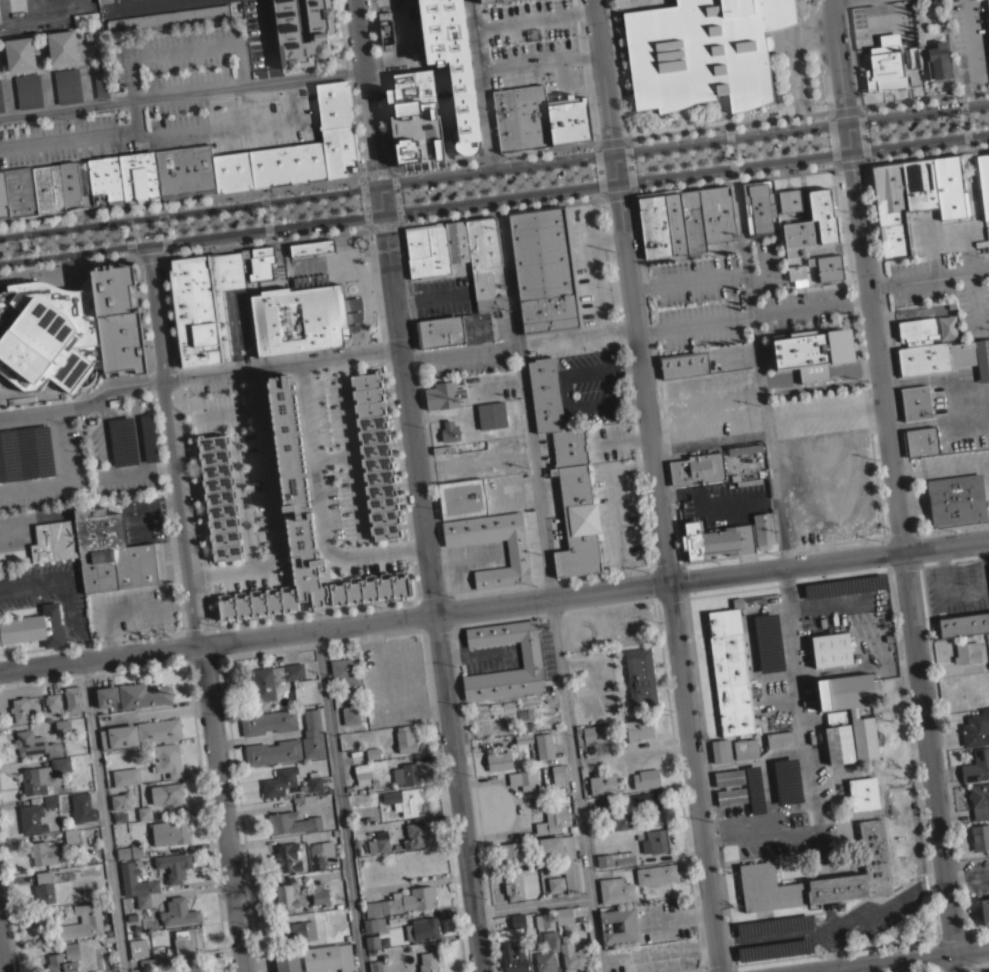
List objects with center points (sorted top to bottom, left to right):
building: (466, 0)
building: (505, 0)
building: (103, 1)
building: (486, 1)
parking lot: (641, 1)
building: (988, 6)
road: (44, 12)
parking lot: (881, 16)
building: (433, 17)
building: (168, 19)
building: (385, 28)
building: (288, 36)
road: (263, 39)
road: (969, 39)
parking lot: (970, 40)
building: (62, 47)
road: (401, 48)
building: (703, 52)
building: (19, 54)
building: (885, 61)
building: (937, 62)
building: (100, 81)
road: (481, 83)
building: (67, 85)
parking lot: (54, 88)
building: (28, 91)
road: (976, 91)
road: (181, 92)
road: (924, 97)
building: (1, 100)
road: (844, 109)
building: (414, 120)
building: (538, 120)
road: (963, 120)
road: (727, 123)
parking lot: (929, 124)
building: (337, 125)
parking lot: (170, 128)
road: (164, 130)
road: (862, 131)
road: (831, 137)
road: (611, 139)
road: (730, 147)
parking lot: (731, 150)
road: (928, 150)
road: (494, 159)
road: (851, 160)
road: (629, 162)
building: (269, 165)
road: (494, 167)
road: (598, 167)
building: (185, 171)
road: (376, 172)
road: (734, 175)
building: (123, 178)
building: (983, 179)
parking lot: (497, 181)
building: (920, 183)
building: (72, 187)
building: (950, 187)
building: (48, 190)
road: (618, 190)
building: (20, 193)
road: (395, 195)
road: (494, 195)
road: (363, 198)
building: (3, 199)
road: (180, 200)
building: (789, 200)
building: (758, 204)
building: (889, 207)
road: (501, 208)
building: (716, 213)
road: (265, 215)
road: (501, 217)
building: (692, 220)
road: (382, 221)
building: (674, 221)
building: (653, 224)
building: (812, 224)
road: (162, 225)
road: (127, 229)
road: (264, 240)
road: (27, 243)
building: (311, 248)
building: (435, 248)
road: (147, 251)
building: (257, 252)
road: (65, 260)
building: (484, 261)
building: (828, 267)
building: (544, 269)
road: (766, 272)
building: (796, 272)
road: (928, 275)
road: (688, 278)
building: (800, 282)
building: (1, 284)
parking lot: (946, 290)
road: (429, 297)
parking lot: (730, 297)
building: (203, 305)
road: (394, 305)
road: (751, 313)
building: (299, 317)
building: (71, 329)
building: (917, 329)
building: (439, 331)
road: (575, 336)
road: (457, 352)
building: (812, 352)
building: (943, 356)
building: (683, 364)
road: (757, 370)
road: (196, 371)
building: (443, 394)
building: (545, 394)
building: (916, 402)
road: (226, 409)
road: (448, 412)
building: (491, 415)
building: (449, 431)
building: (143, 436)
building: (118, 440)
road: (169, 441)
building: (920, 441)
parking lot: (948, 442)
building: (569, 446)
building: (441, 449)
building: (24, 452)
building: (375, 455)
parking lot: (75, 459)
road: (156, 465)
building: (696, 468)
road: (128, 474)
road: (59, 475)
road: (893, 485)
road: (655, 486)
building: (746, 488)
building: (218, 497)
building: (461, 497)
building: (956, 499)
road: (322, 500)
road: (714, 502)
road: (242, 504)
road: (269, 505)
road: (617, 509)
building: (576, 522)
building: (302, 525)
building: (763, 529)
building: (715, 540)
building: (54, 541)
building: (111, 553)
building: (517, 556)
building: (988, 567)
road: (30, 585)
road: (549, 599)
building: (761, 599)
road: (494, 604)
road: (71, 620)
building: (963, 623)
building: (34, 627)
building: (987, 636)
building: (763, 641)
building: (831, 649)
building: (968, 652)
building: (530, 657)
building: (889, 666)
building: (730, 671)
building: (345, 676)
building: (640, 679)
road: (797, 679)
building: (261, 683)
building: (142, 694)
building: (106, 695)
building: (73, 698)
building: (52, 702)
building: (20, 708)
building: (848, 714)
building: (350, 715)
building: (268, 722)
building: (61, 725)
building: (776, 726)
building: (639, 728)
building: (976, 728)
building: (159, 730)
building: (312, 734)
building: (596, 734)
building: (118, 736)
building: (523, 738)
building: (405, 739)
building: (34, 744)
building: (544, 745)
building: (747, 748)
building: (721, 750)
building: (272, 752)
building: (372, 753)
building: (166, 759)
building: (499, 760)
building: (60, 764)
building: (976, 766)
building: (366, 770)
building: (558, 773)
building: (406, 775)
building: (126, 776)
building: (729, 777)
building: (646, 778)
building: (522, 779)
building: (35, 780)
building: (279, 781)
building: (314, 781)
building: (603, 784)
building: (855, 789)
road: (457, 792)
building: (166, 793)
building: (731, 796)
road: (338, 799)
building: (647, 799)
building: (50, 800)
building: (404, 800)
building: (979, 800)
building: (121, 801)
building: (604, 804)
road: (221, 806)
building: (82, 807)
building: (144, 812)
road: (103, 815)
building: (119, 816)
building: (30, 817)
building: (552, 819)
building: (624, 820)
building: (291, 822)
building: (169, 832)
building: (415, 834)
building: (980, 836)
building: (71, 837)
building: (657, 841)
building: (378, 844)
building: (557, 846)
building: (324, 848)
building: (129, 851)
building: (43, 853)
building: (512, 853)
building: (316, 856)
building: (287, 857)
building: (615, 858)
building: (174, 865)
building: (756, 869)
building: (656, 874)
building: (135, 880)
building: (556, 883)
building: (572, 883)
building: (513, 885)
building: (43, 887)
building: (615, 890)
building: (319, 894)
building: (288, 897)
building: (143, 901)
building: (403, 901)
road: (531, 903)
road: (872, 908)
building: (984, 910)
building: (178, 912)
building: (563, 915)
building: (517, 920)
building: (544, 920)
building: (83, 921)
building: (373, 924)
building: (618, 925)
building: (425, 927)
building: (297, 931)
road: (773, 935)
building: (187, 939)
building: (372, 941)
building: (138, 947)
building: (71, 951)
building: (547, 952)
building: (572, 955)
building: (328, 957)
building: (514, 957)
road: (1, 958)
building: (154, 959)
road: (887, 959)
building: (428, 962)
building: (285, 963)
building: (60, 964)
building: (375, 966)
building: (194, 968)
road: (836, 969)

